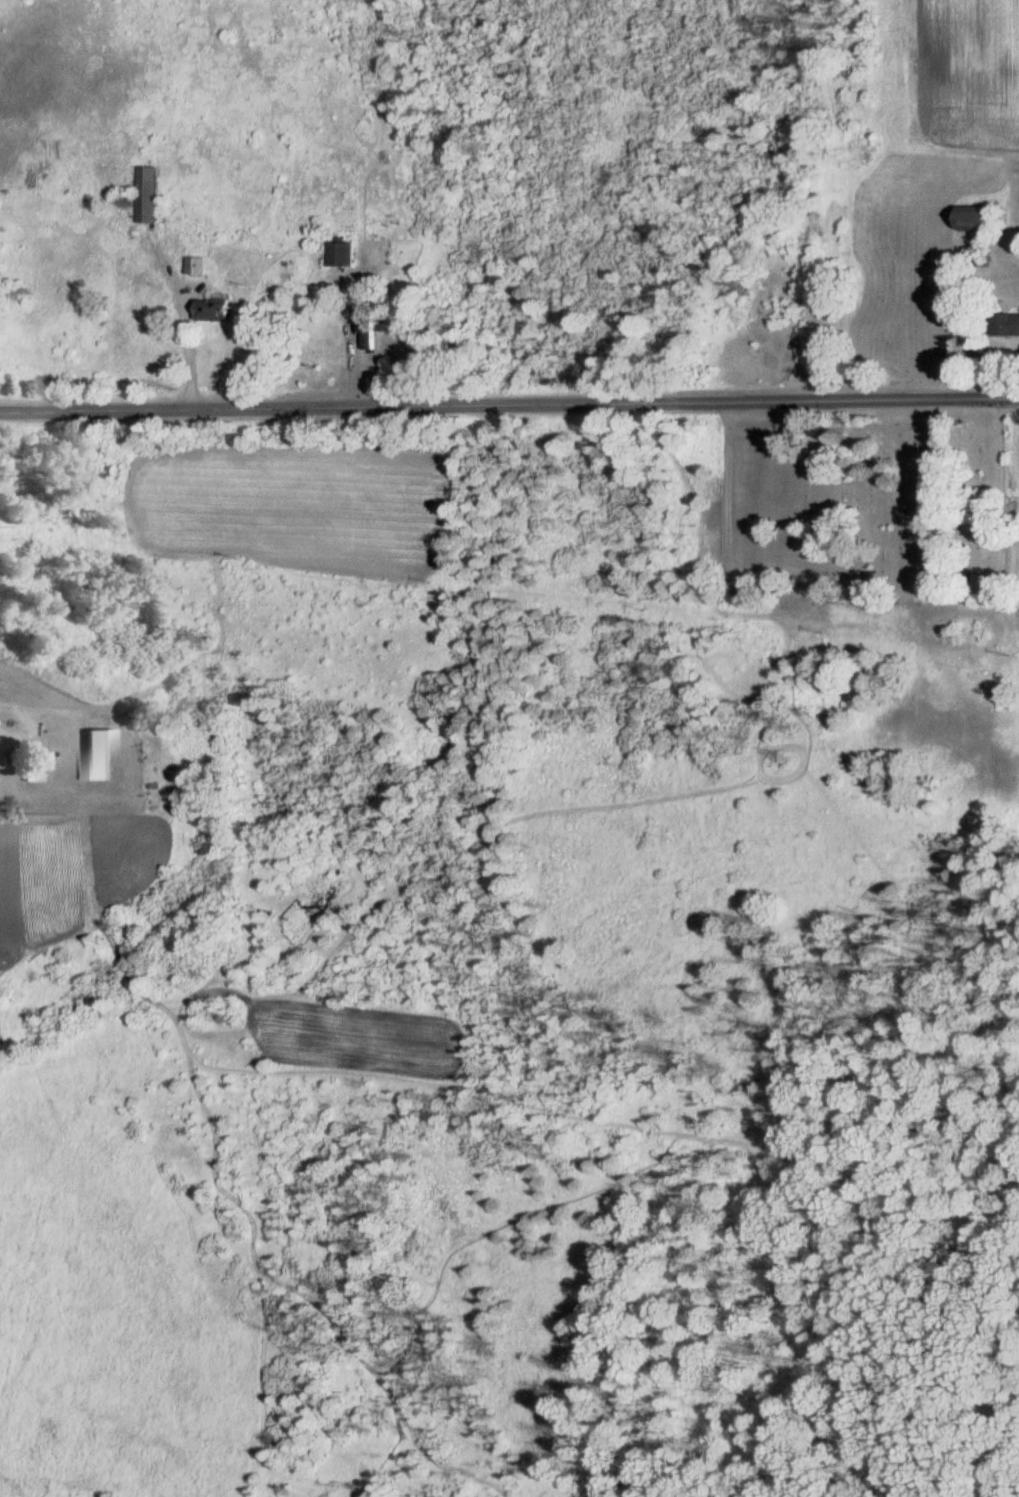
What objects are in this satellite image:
building: (36, 183)
building: (150, 198)
building: (980, 222)
building: (345, 257)
building: (200, 269)
building: (216, 313)
building: (1007, 328)
building: (372, 330)
road: (509, 405)
park: (869, 508)
building: (99, 757)
building: (34, 766)

